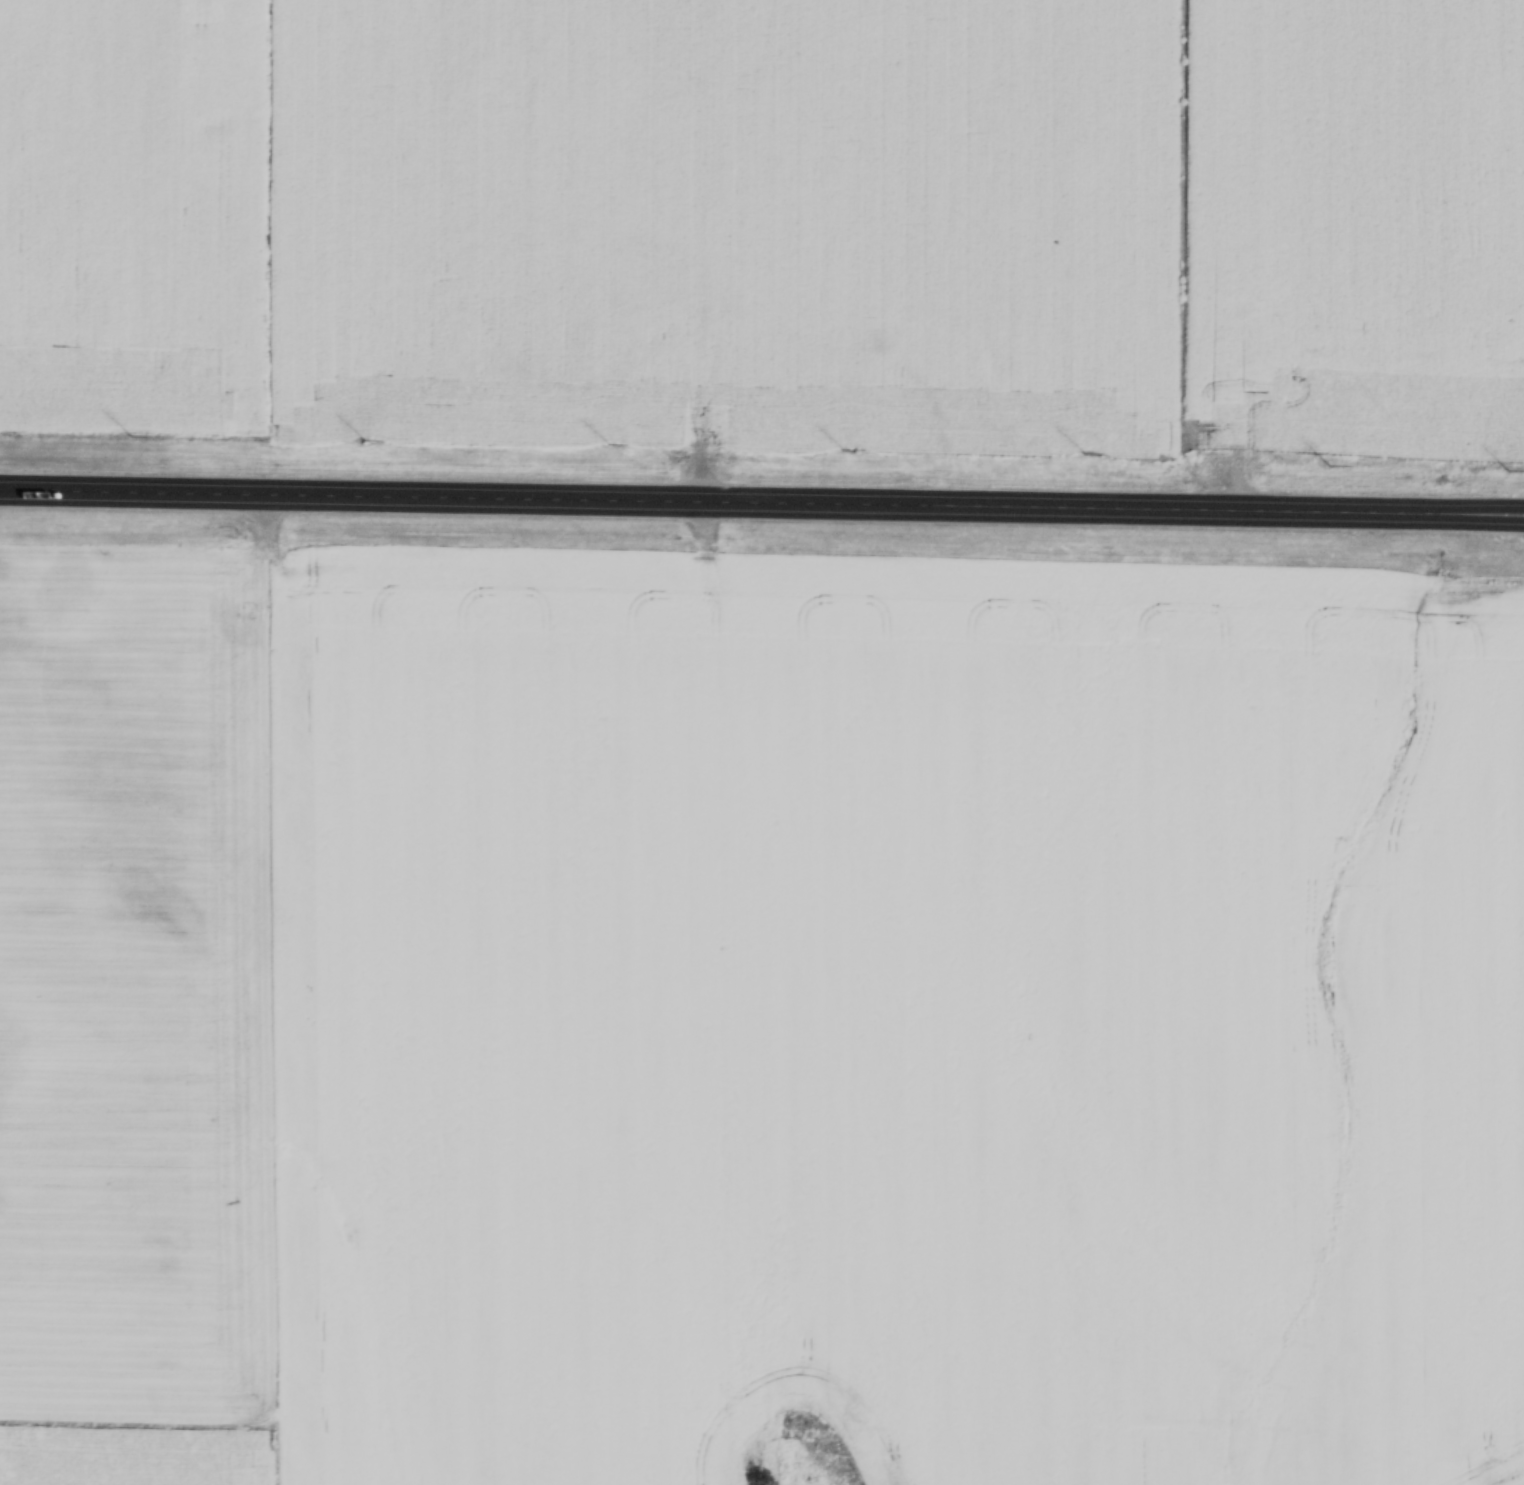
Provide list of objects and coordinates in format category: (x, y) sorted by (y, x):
road: (762, 500)

